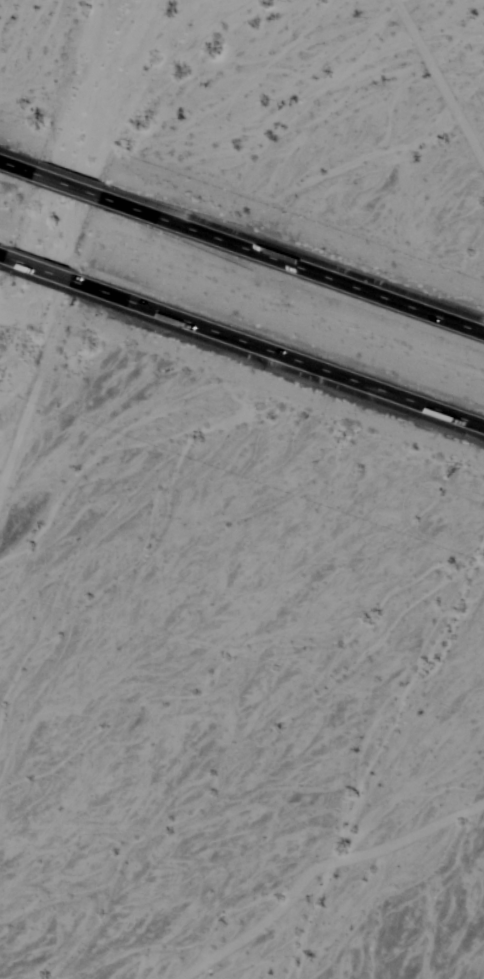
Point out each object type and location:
road: (242, 242)
road: (242, 333)

